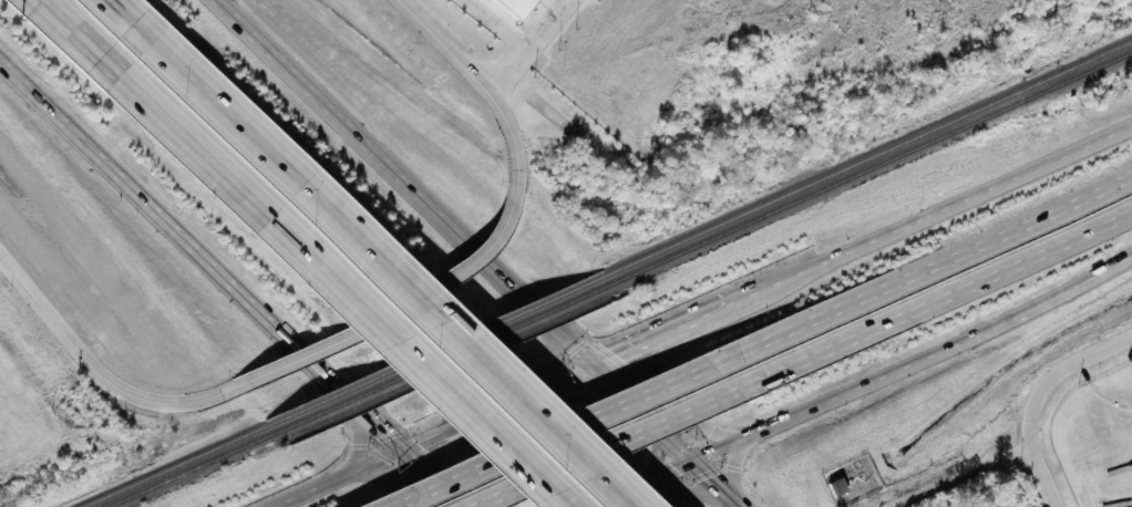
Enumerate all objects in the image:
building: (514, 6)
road: (495, 25)
road: (528, 48)
railway: (1085, 59)
railway: (1088, 69)
railway: (1028, 84)
road: (478, 85)
road: (200, 91)
railway: (1032, 93)
road: (148, 108)
railway: (811, 182)
railway: (815, 189)
road: (945, 209)
road: (457, 227)
road: (200, 250)
road: (925, 269)
road: (1072, 282)
road: (935, 300)
road: (711, 310)
road: (390, 312)
road: (463, 344)
road: (631, 344)
railway: (436, 348)
railway: (442, 355)
traffic signals: (596, 360)
road: (411, 362)
road: (1056, 372)
road: (96, 373)
road: (851, 385)
road: (498, 402)
road: (666, 407)
road: (553, 434)
road: (361, 443)
traffic signals: (401, 445)
road: (455, 447)
road: (600, 447)
road: (644, 452)
traffic signals: (690, 461)
road: (734, 463)
railway: (173, 464)
railway: (188, 468)
road: (384, 472)
road: (657, 474)
road: (331, 475)
road: (432, 475)
road: (957, 476)
road: (1040, 476)
road: (719, 483)
building: (837, 485)
road: (700, 490)
road: (603, 497)

